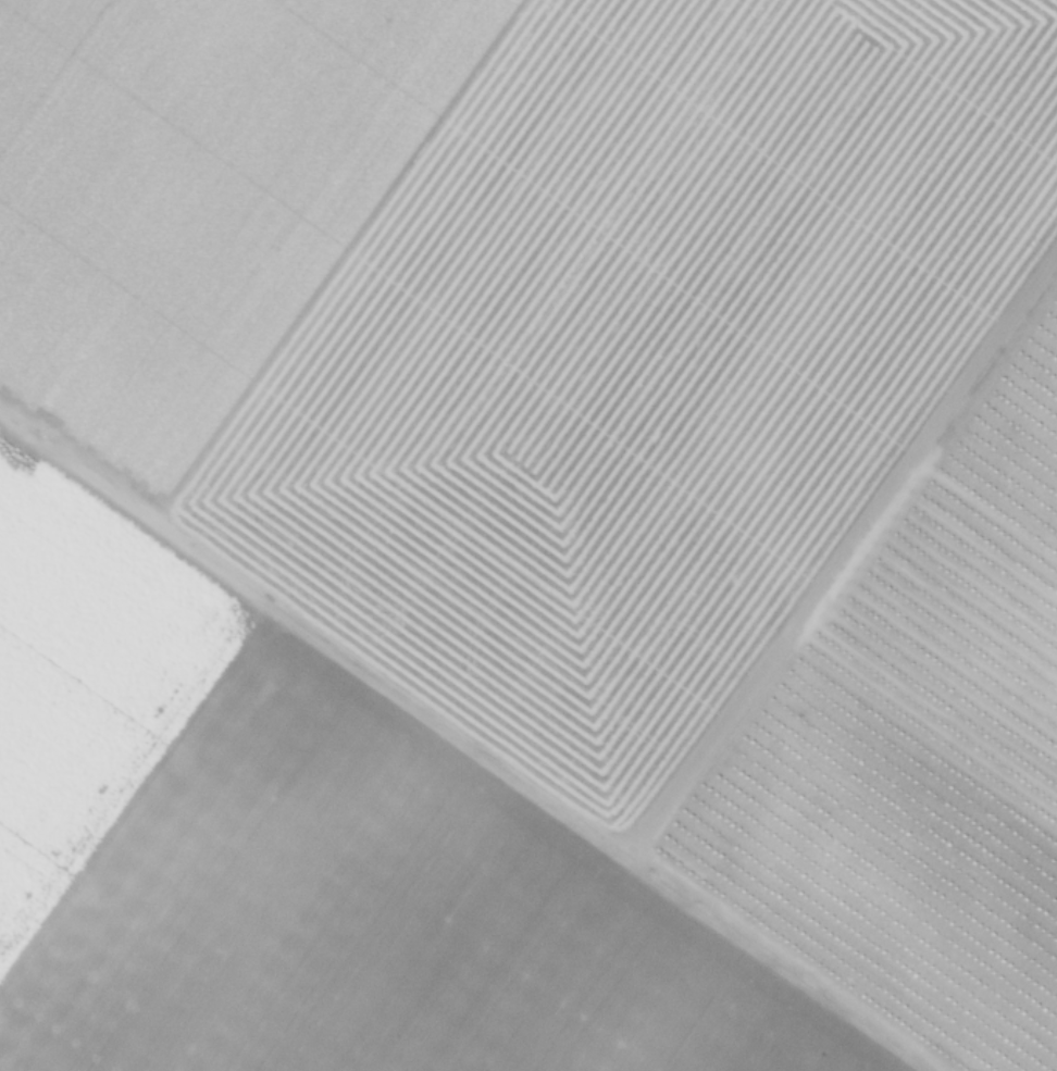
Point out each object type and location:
crop: (528, 535)

